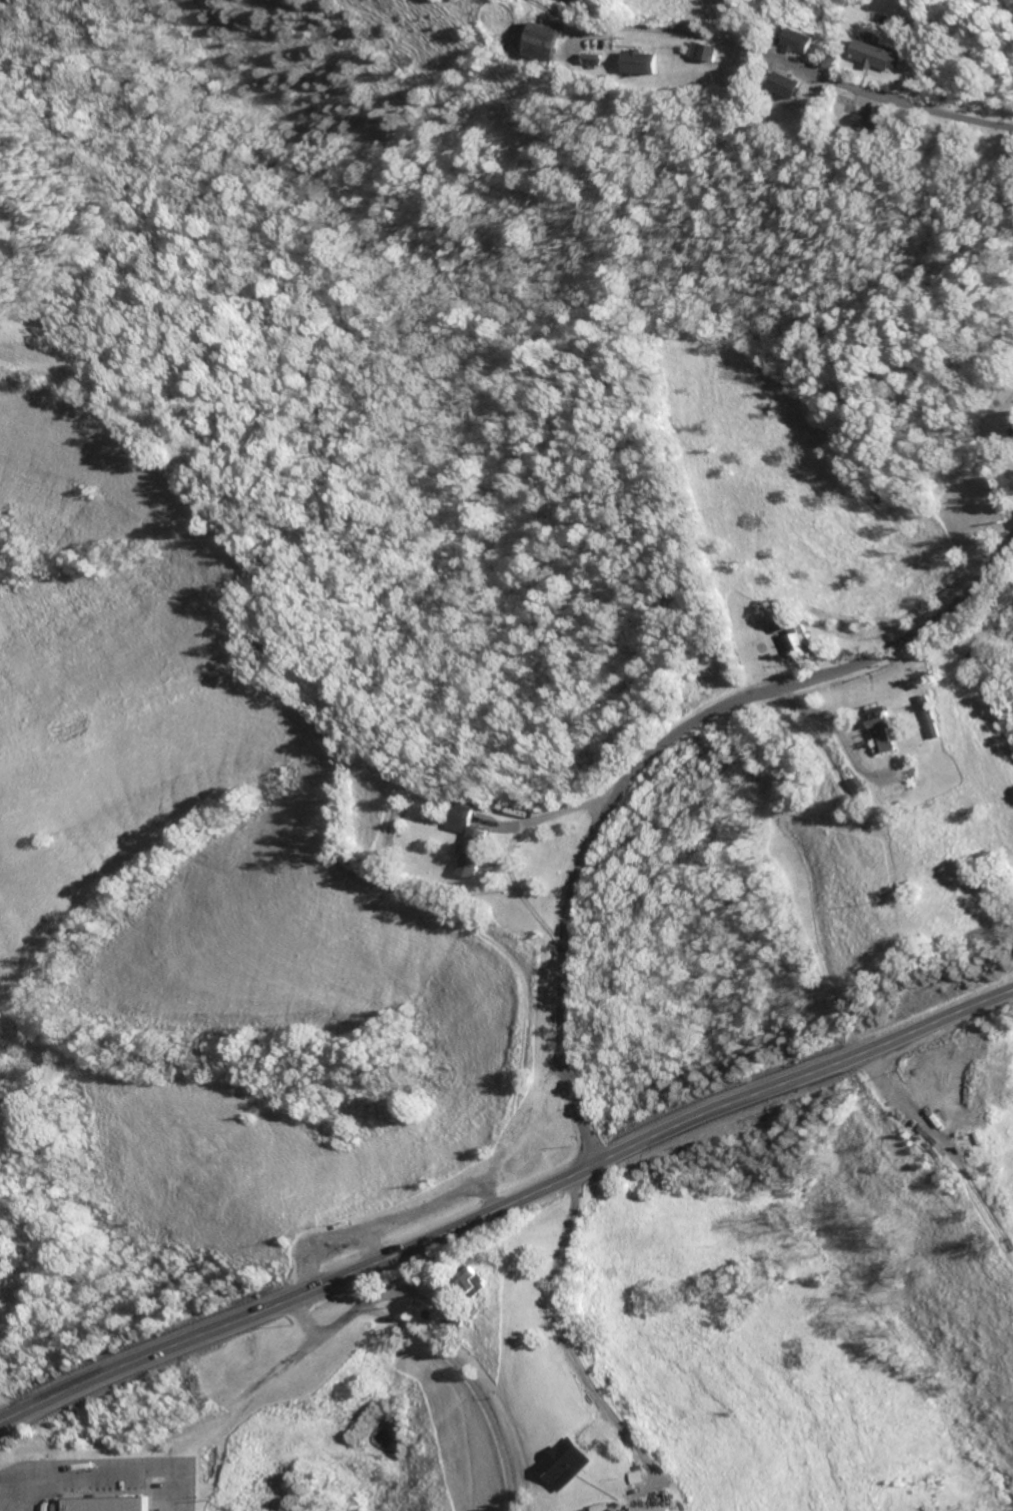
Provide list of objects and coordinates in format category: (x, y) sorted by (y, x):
road: (679, 32)
building: (803, 41)
building: (542, 43)
building: (706, 52)
building: (880, 55)
building: (640, 62)
building: (790, 86)
road: (894, 99)
building: (871, 123)
building: (782, 625)
building: (807, 644)
road: (967, 690)
building: (935, 719)
building: (883, 731)
road: (649, 761)
building: (464, 819)
road: (515, 846)
building: (475, 854)
road: (506, 1207)
road: (903, 1217)
building: (475, 1280)
road: (384, 1293)
road: (305, 1319)
road: (328, 1330)
road: (575, 1340)
road: (470, 1383)
building: (567, 1464)
building: (110, 1504)
building: (654, 1509)

